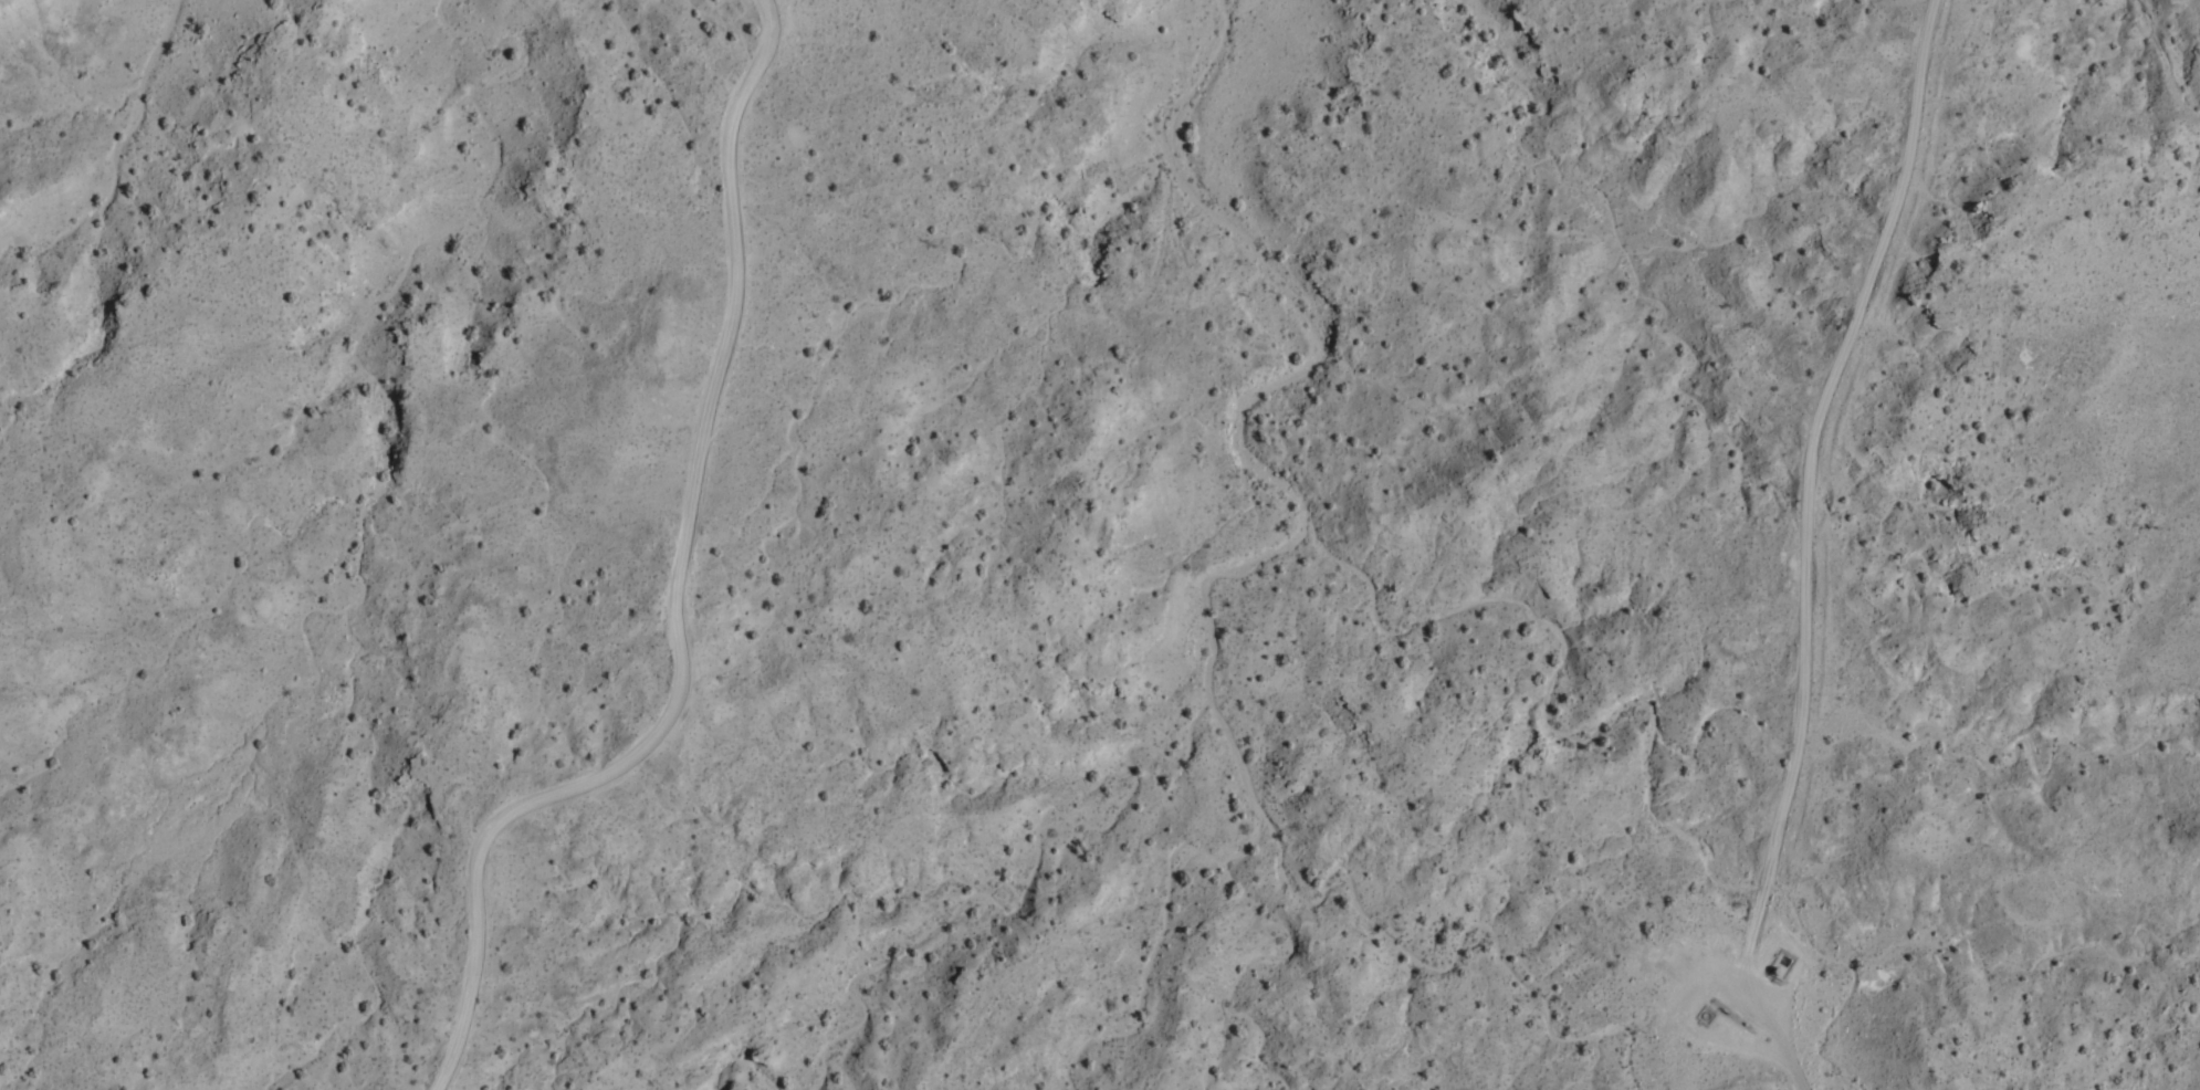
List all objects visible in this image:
road: (677, 595)

